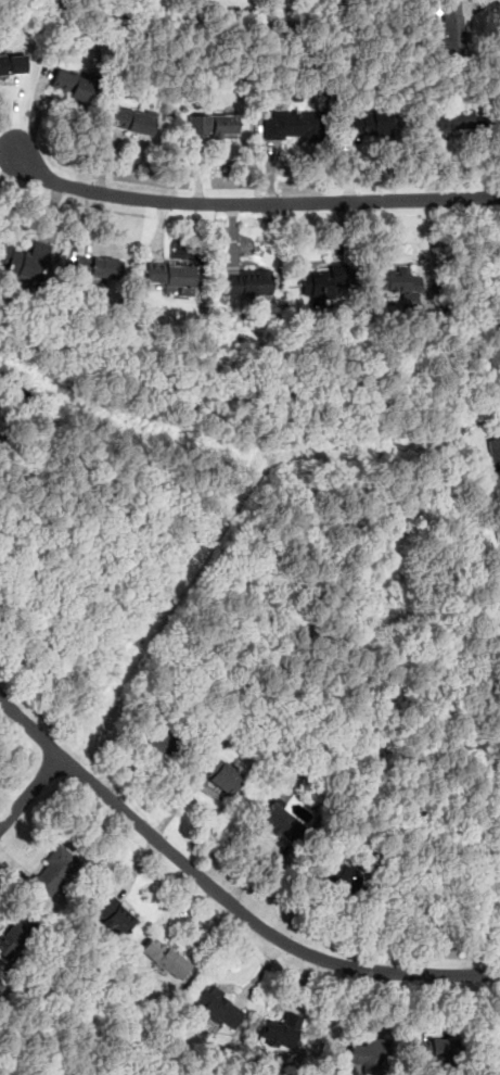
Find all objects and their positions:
building: (452, 27)
building: (13, 64)
building: (72, 86)
road: (38, 110)
building: (131, 119)
building: (450, 119)
building: (293, 124)
building: (368, 124)
building: (214, 126)
road: (9, 148)
road: (9, 156)
road: (10, 165)
road: (253, 203)
building: (24, 260)
building: (98, 266)
building: (169, 276)
building: (249, 281)
building: (322, 281)
building: (395, 282)
building: (495, 454)
building: (161, 741)
building: (220, 774)
road: (29, 791)
building: (280, 821)
building: (52, 871)
building: (342, 876)
road: (222, 896)
building: (115, 916)
building: (14, 934)
building: (165, 958)
building: (0, 986)
building: (215, 1004)
building: (278, 1028)
building: (435, 1050)
building: (496, 1050)
building: (368, 1052)

